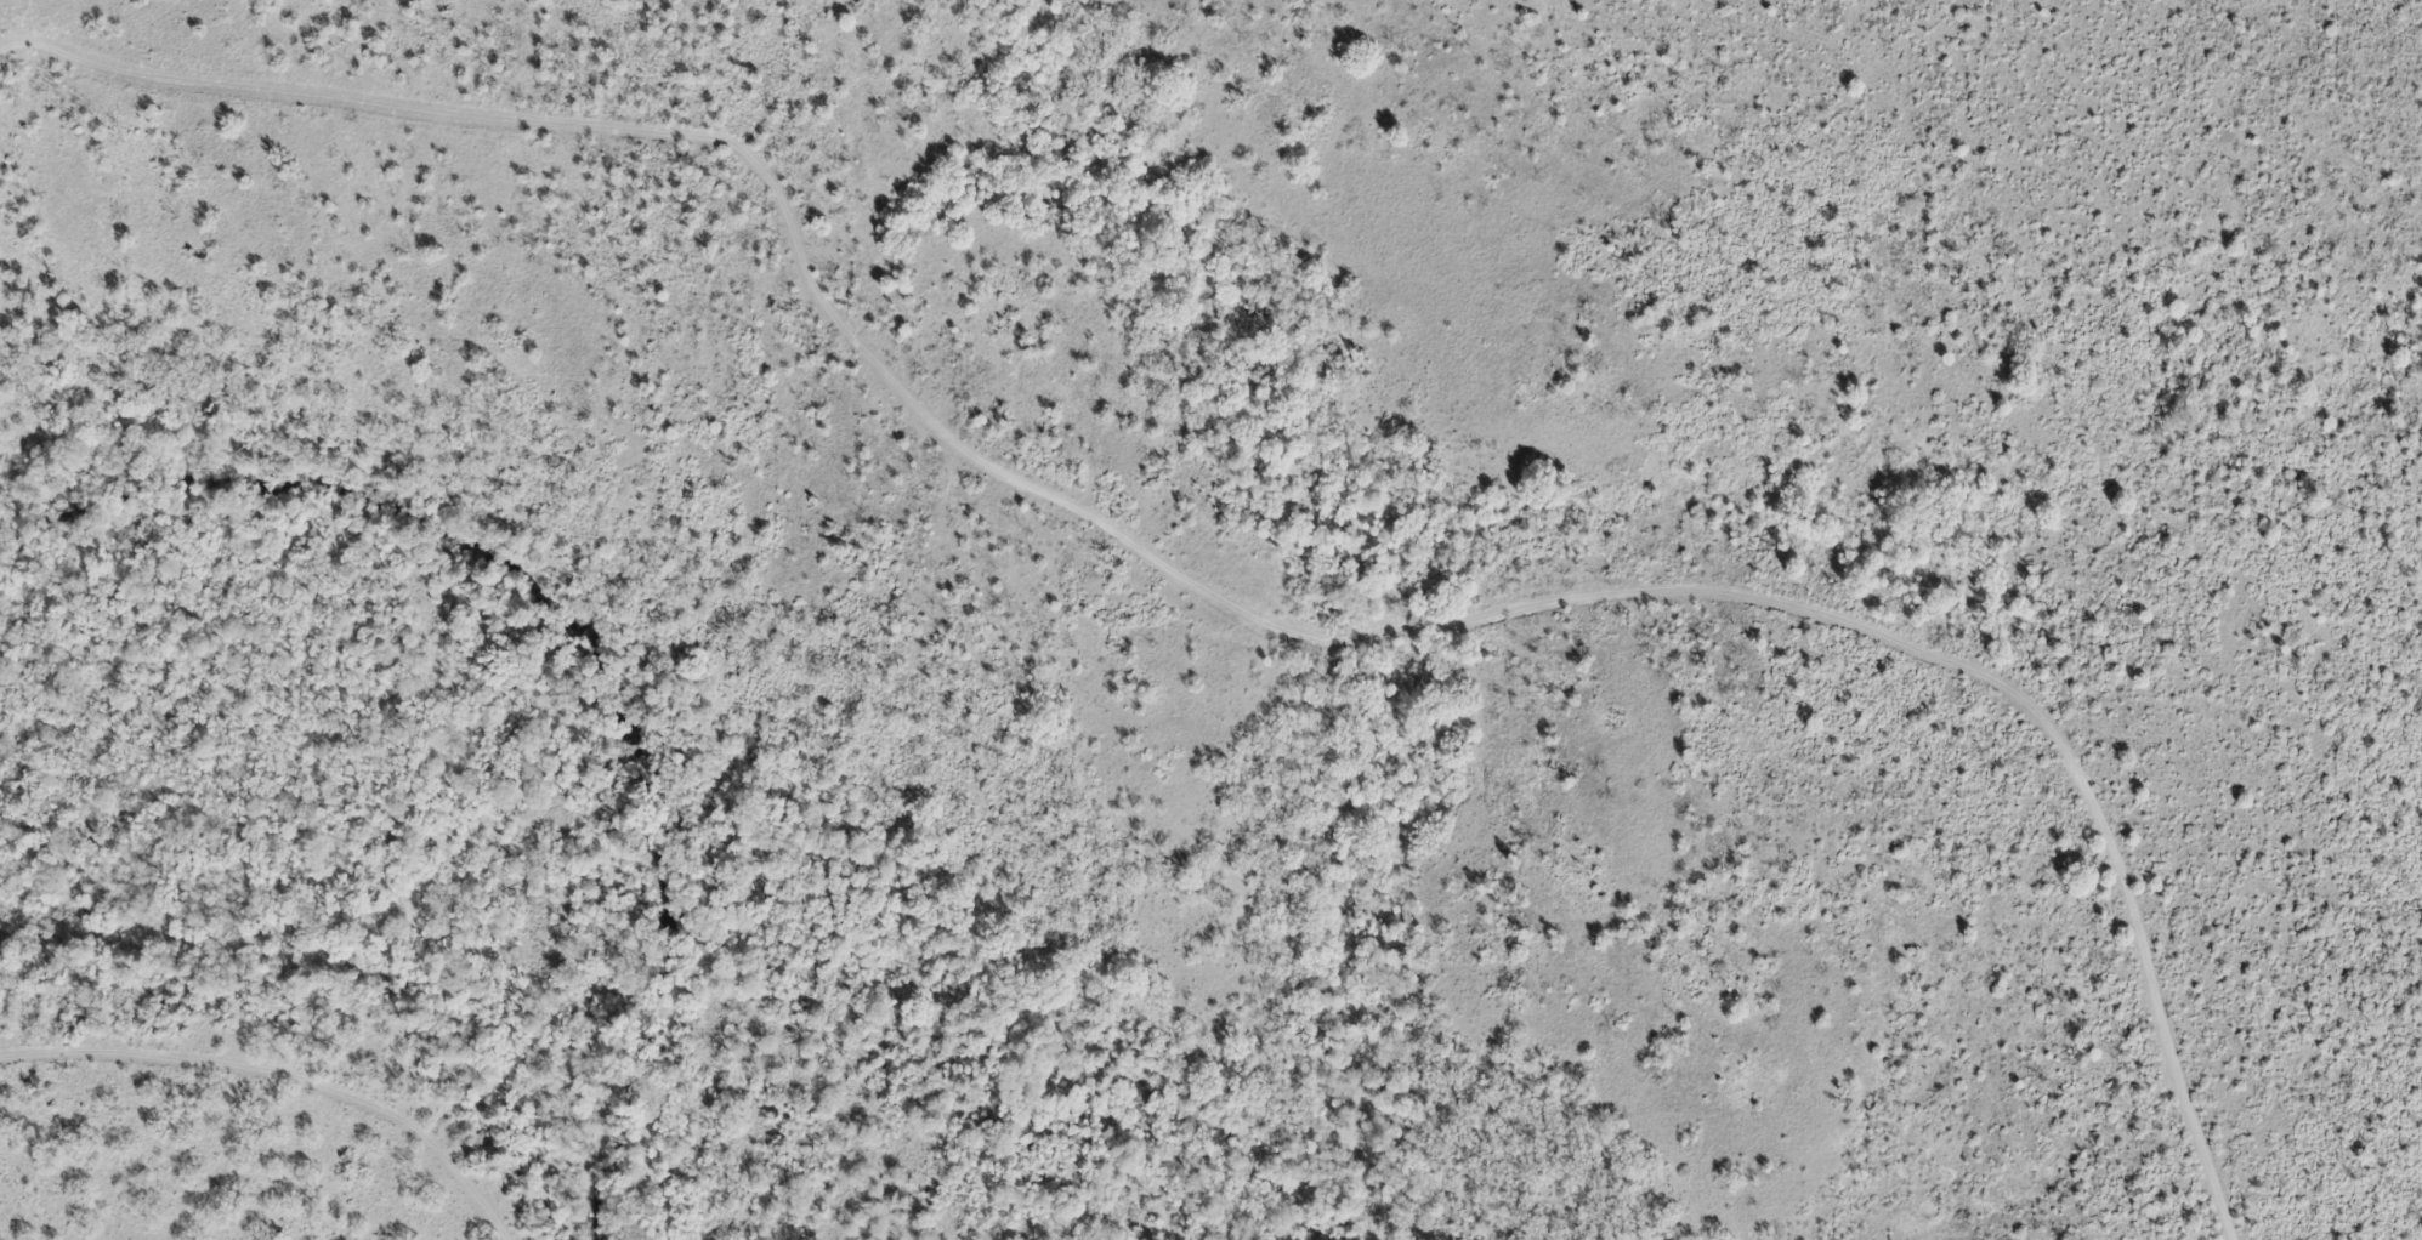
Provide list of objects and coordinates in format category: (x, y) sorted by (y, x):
river: (575, 647)

